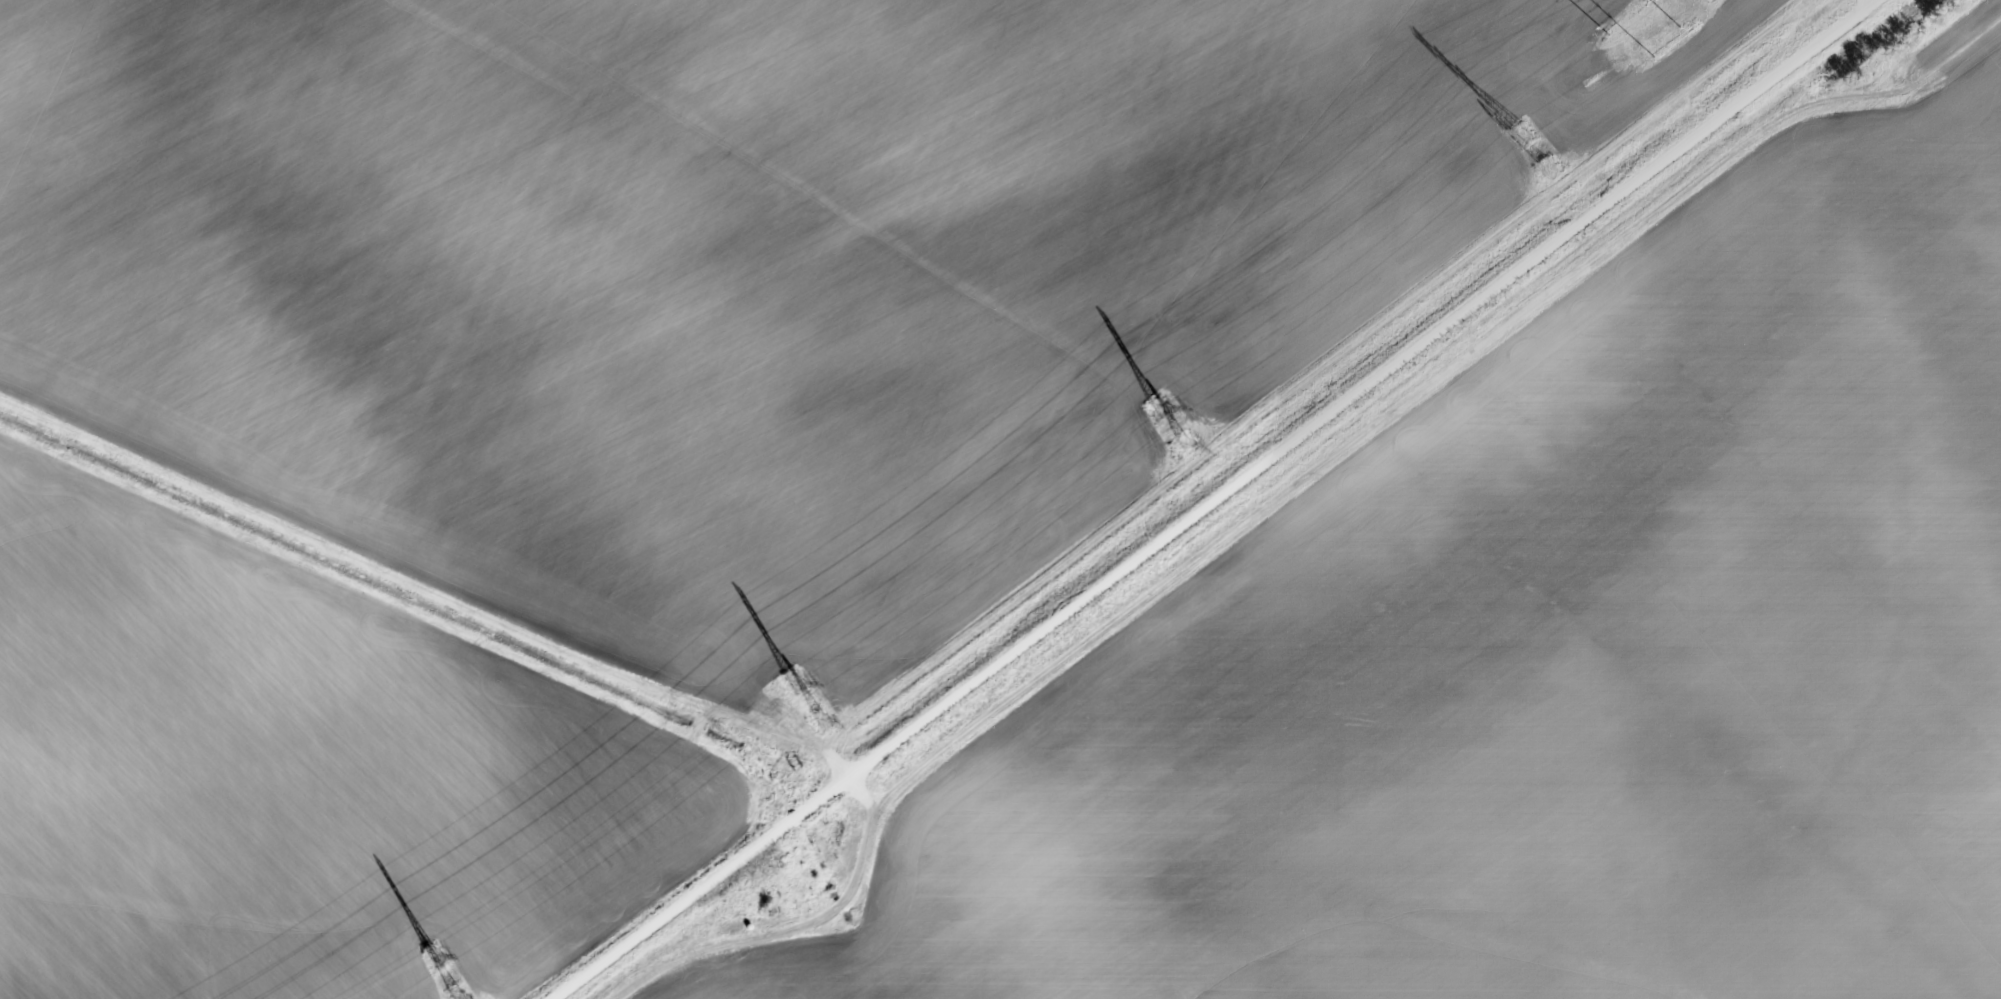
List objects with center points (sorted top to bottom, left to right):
power tower: (1521, 133)
power tower: (1549, 168)
power tower: (1161, 409)
power tower: (1183, 445)
railway: (1217, 494)
power tower: (794, 686)
power tower: (820, 721)
power tower: (433, 958)
railway: (592, 962)

